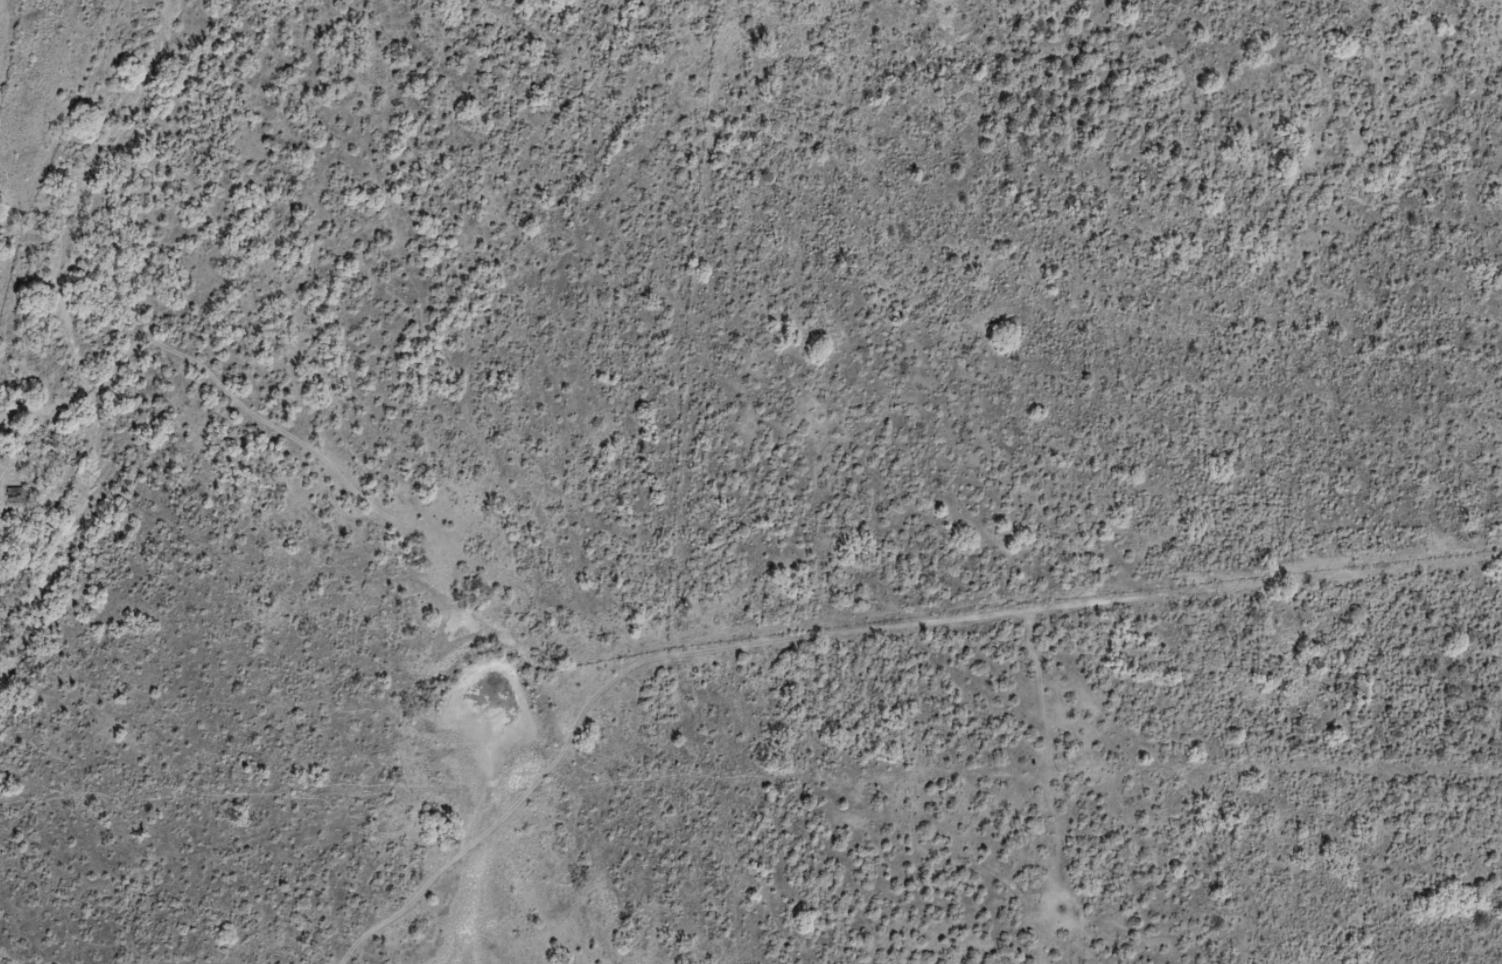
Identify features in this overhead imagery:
building: (14, 496)

